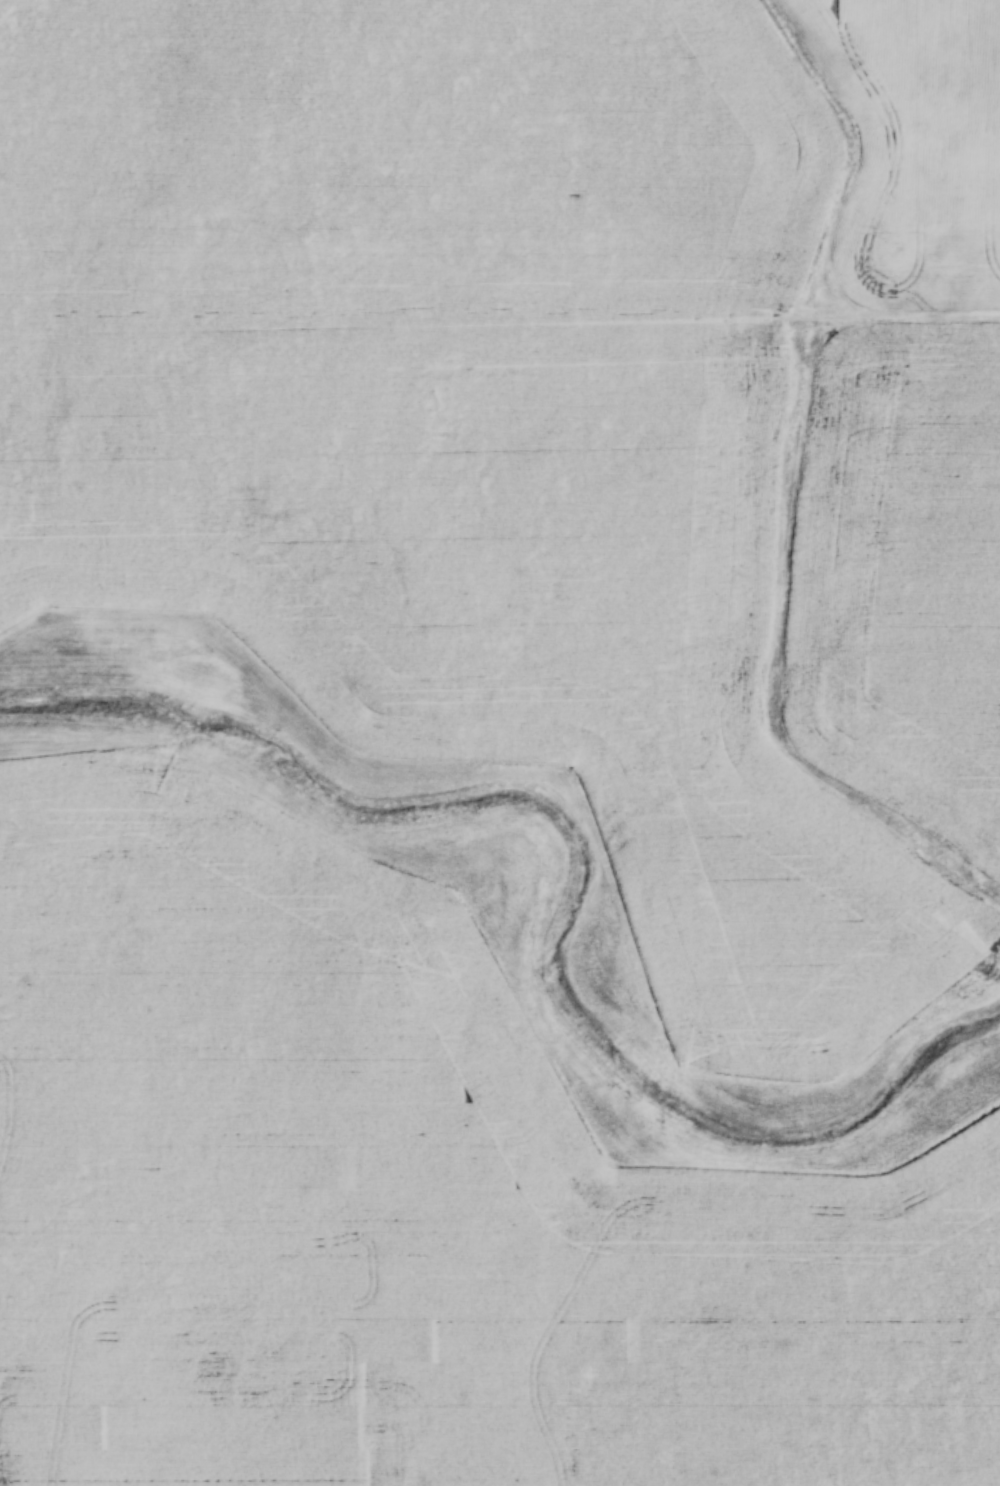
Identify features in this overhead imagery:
road: (499, 312)

